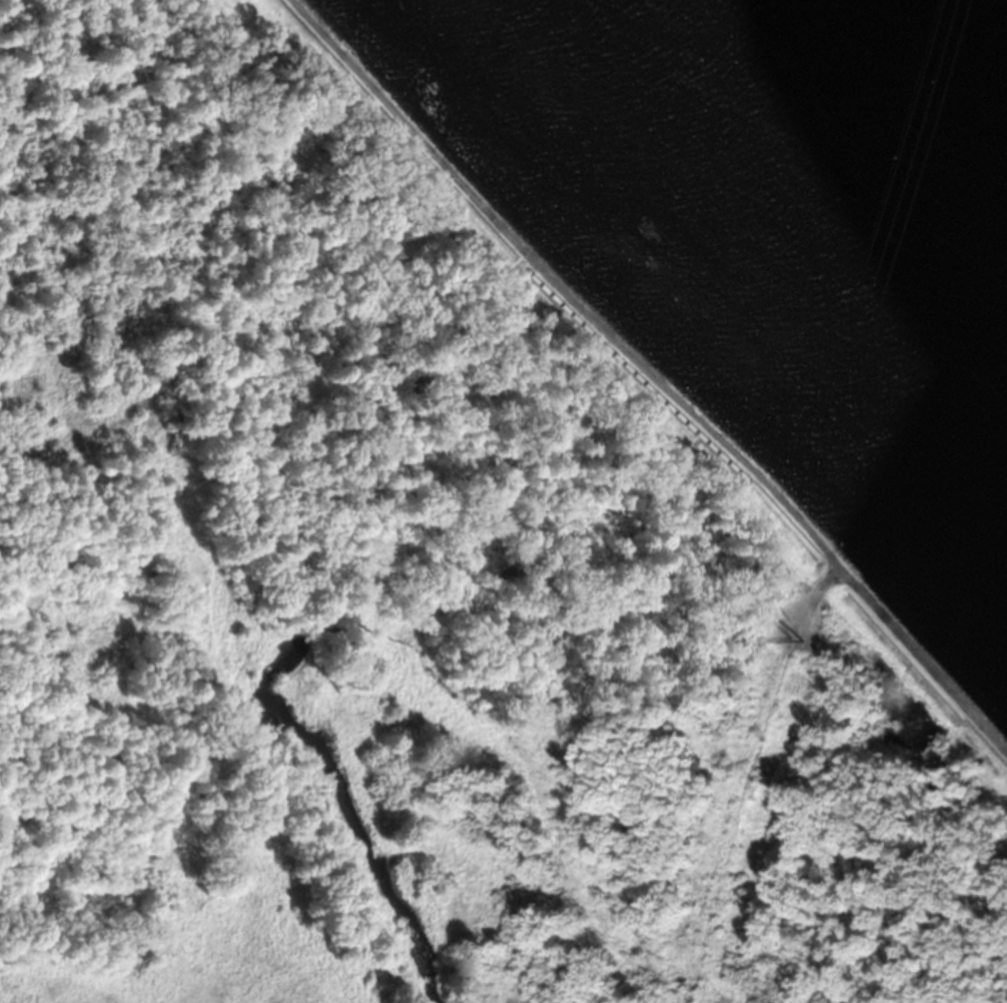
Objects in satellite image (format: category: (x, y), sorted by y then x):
power tower: (799, 626)

